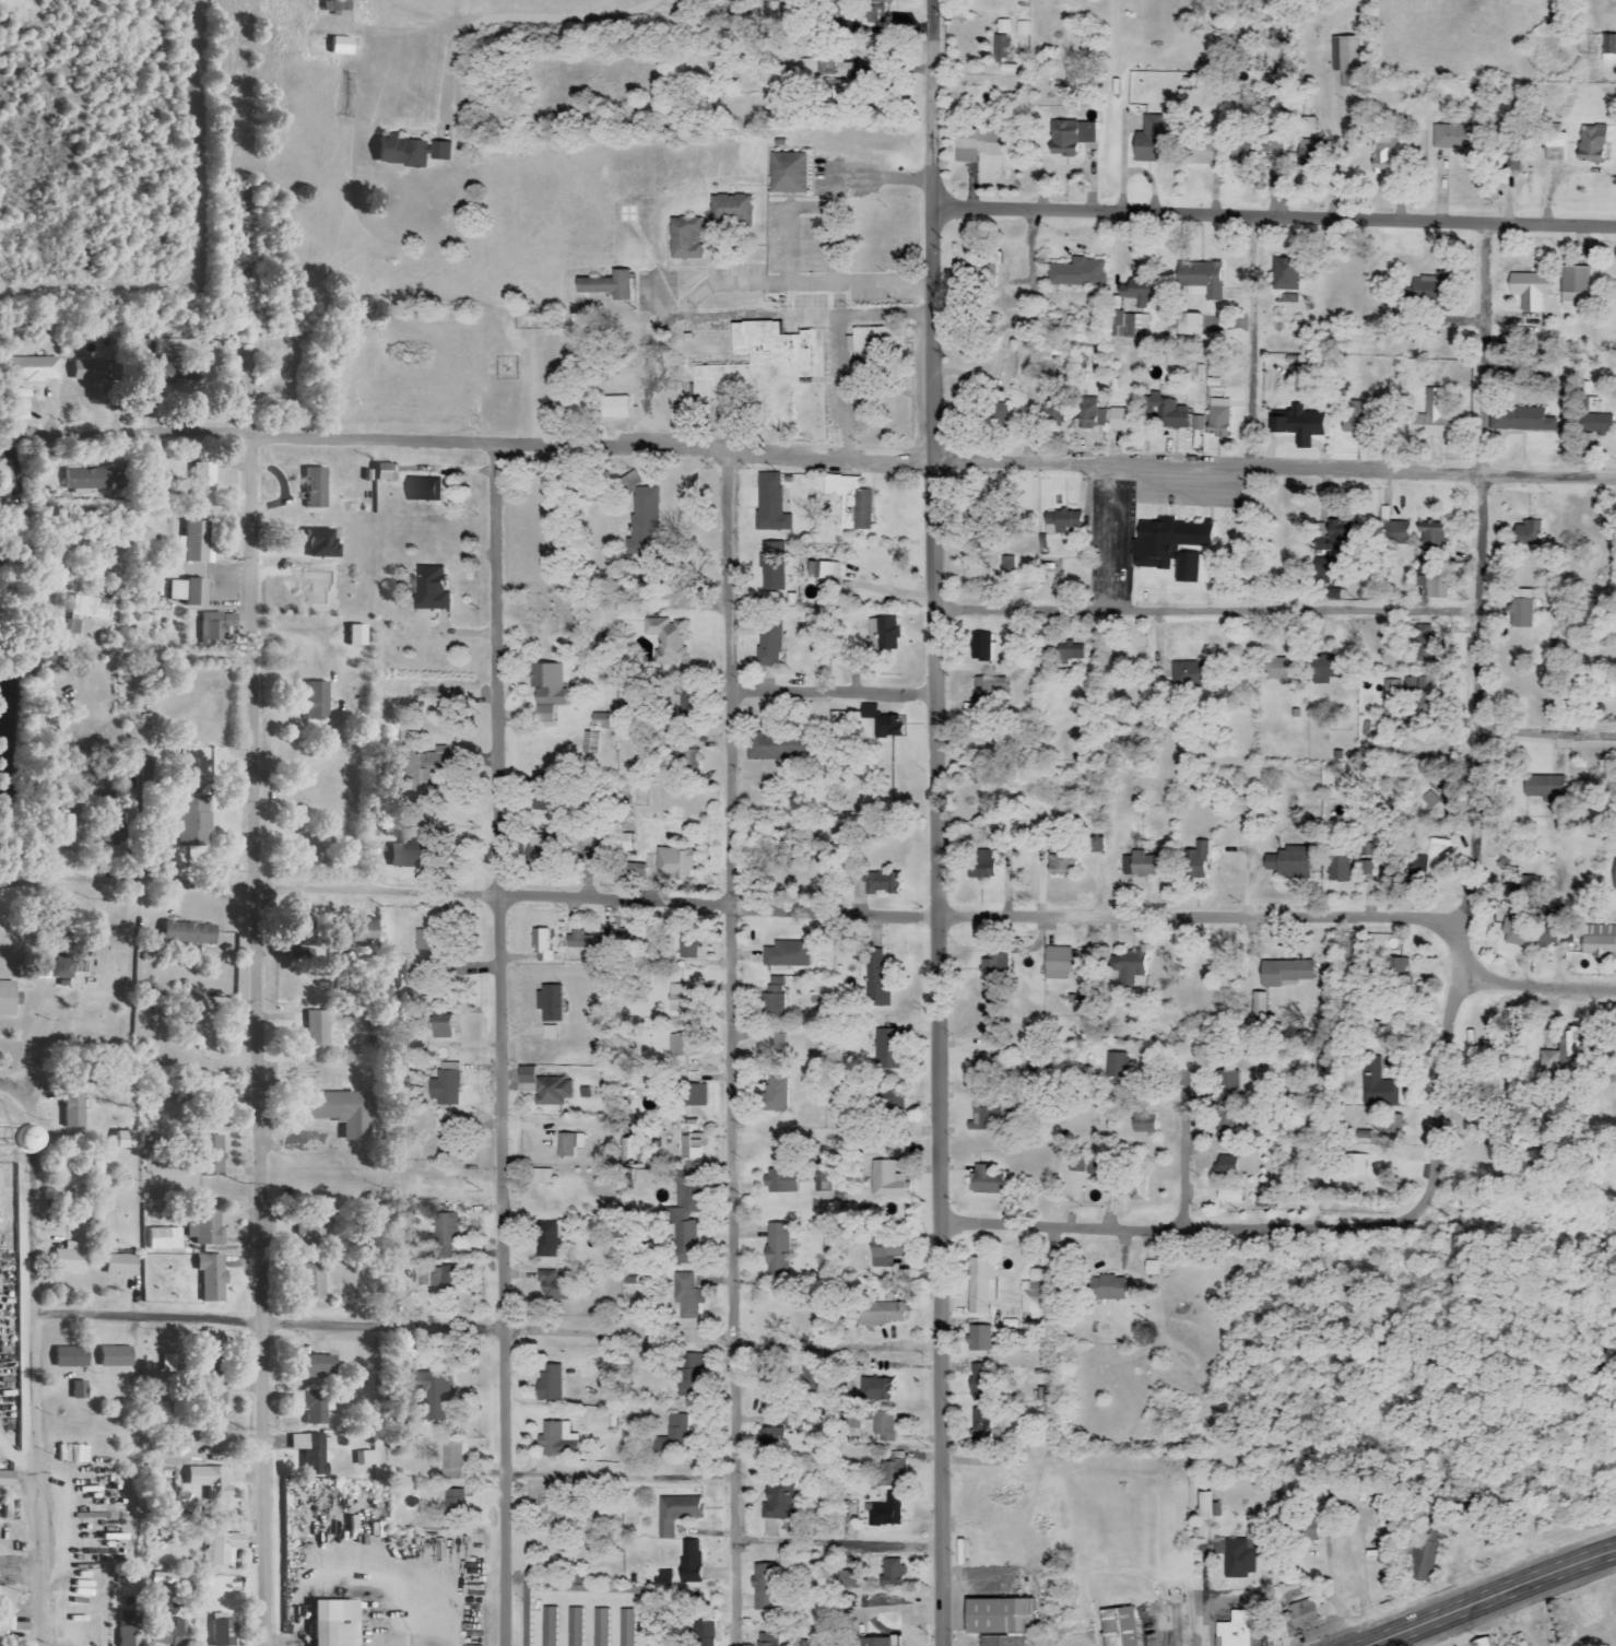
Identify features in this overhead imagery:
building: (770, 0)
building: (872, 10)
road: (516, 17)
building: (1003, 26)
building: (1023, 28)
building: (339, 46)
building: (1001, 49)
building: (1608, 49)
building: (1345, 54)
building: (1349, 79)
building: (845, 90)
road: (927, 104)
building: (1308, 124)
building: (1070, 137)
building: (1458, 137)
building: (1152, 141)
building: (1555, 142)
building: (1592, 143)
building: (983, 144)
building: (410, 151)
building: (1201, 151)
building: (1240, 151)
building: (1310, 153)
building: (1388, 153)
building: (1514, 160)
building: (788, 173)
road: (883, 183)
building: (732, 209)
road: (1271, 219)
helipad: (633, 220)
building: (685, 238)
building: (991, 271)
building: (1078, 273)
building: (1285, 274)
building: (1206, 280)
road: (721, 283)
building: (1573, 283)
building: (608, 286)
building: (1430, 286)
building: (1529, 290)
building: (1187, 324)
road: (1031, 339)
building: (873, 343)
road: (1255, 344)
road: (842, 345)
road: (1483, 351)
building: (222, 358)
building: (161, 365)
building: (764, 367)
building: (34, 369)
building: (82, 371)
building: (613, 407)
building: (1168, 412)
building: (1088, 414)
building: (1000, 415)
building: (1057, 415)
building: (1218, 418)
building: (1431, 418)
building: (1520, 419)
building: (1120, 420)
building: (1355, 420)
building: (1196, 423)
building: (1298, 424)
building: (1599, 424)
road: (807, 459)
building: (382, 472)
building: (85, 479)
building: (203, 482)
building: (315, 489)
building: (422, 490)
building: (850, 502)
building: (770, 504)
building: (642, 519)
building: (1061, 521)
building: (1396, 532)
building: (1527, 533)
building: (1431, 537)
road: (1109, 539)
building: (1336, 539)
building: (192, 543)
building: (1171, 546)
building: (771, 566)
building: (1008, 567)
building: (824, 571)
building: (1322, 571)
building: (1436, 584)
building: (430, 588)
building: (187, 592)
building: (769, 600)
building: (1522, 608)
building: (91, 609)
road: (1202, 613)
building: (216, 626)
building: (885, 634)
building: (355, 636)
building: (668, 639)
building: (1423, 643)
building: (768, 645)
building: (981, 647)
road: (172, 652)
building: (1071, 654)
building: (1329, 668)
building: (1282, 669)
building: (1191, 674)
building: (990, 686)
building: (546, 691)
building: (1395, 694)
road: (829, 695)
building: (314, 702)
building: (692, 704)
building: (599, 720)
building: (146, 724)
building: (885, 724)
road: (1544, 737)
building: (781, 746)
building: (687, 753)
building: (432, 763)
building: (1544, 788)
building: (540, 806)
building: (191, 820)
building: (61, 831)
building: (544, 845)
building: (1095, 845)
building: (611, 846)
road: (1465, 850)
building: (403, 855)
building: (676, 861)
building: (1196, 861)
building: (1290, 862)
building: (1139, 865)
building: (636, 866)
building: (1062, 866)
building: (1341, 866)
building: (1368, 868)
building: (1420, 868)
building: (979, 870)
building: (1614, 877)
building: (882, 883)
building: (1527, 887)
road: (22, 889)
road: (753, 902)
road: (931, 927)
building: (1552, 928)
building: (363, 930)
building: (1515, 932)
building: (188, 934)
building: (429, 938)
building: (591, 941)
building: (1600, 941)
building: (342, 945)
building: (541, 945)
building: (687, 945)
building: (789, 954)
building: (1061, 963)
building: (1125, 966)
building: (994, 967)
building: (54, 969)
building: (1405, 971)
building: (1284, 972)
building: (875, 977)
road: (1536, 979)
building: (777, 996)
building: (680, 998)
building: (9, 999)
building: (550, 1003)
building: (1259, 1004)
building: (443, 1026)
building: (316, 1028)
building: (549, 1032)
road: (259, 1045)
building: (683, 1045)
building: (776, 1045)
road: (498, 1048)
building: (889, 1049)
building: (1562, 1050)
road: (731, 1051)
building: (1116, 1066)
road: (1255, 1081)
building: (1228, 1082)
building: (448, 1085)
building: (1377, 1085)
building: (552, 1091)
building: (695, 1095)
building: (774, 1095)
building: (72, 1110)
building: (337, 1113)
building: (986, 1118)
building: (1143, 1122)
helipad: (11, 1134)
building: (121, 1140)
building: (691, 1141)
building: (568, 1144)
road: (1182, 1150)
building: (210, 1156)
building: (1240, 1163)
building: (1083, 1165)
building: (540, 1176)
building: (822, 1177)
building: (887, 1180)
building: (986, 1180)
building: (780, 1181)
building: (1136, 1188)
building: (1229, 1196)
building: (684, 1218)
building: (445, 1227)
building: (312, 1228)
road: (1175, 1228)
building: (204, 1230)
building: (163, 1239)
building: (546, 1239)
building: (777, 1248)
building: (884, 1257)
building: (69, 1259)
building: (119, 1266)
building: (211, 1278)
building: (436, 1280)
building: (310, 1281)
building: (980, 1285)
building: (554, 1288)
building: (1108, 1288)
building: (399, 1293)
building: (1033, 1295)
building: (688, 1297)
building: (882, 1314)
road: (484, 1330)
building: (979, 1339)
road: (35, 1351)
building: (69, 1357)
building: (114, 1357)
building: (316, 1366)
building: (688, 1375)
building: (767, 1376)
building: (549, 1383)
building: (979, 1384)
building: (878, 1389)
building: (79, 1390)
building: (212, 1403)
building: (316, 1410)
building: (980, 1424)
building: (885, 1426)
building: (679, 1438)
building: (772, 1438)
building: (558, 1439)
building: (312, 1453)
building: (364, 1459)
building: (452, 1461)
building: (894, 1469)
road: (617, 1475)
building: (2, 1480)
building: (217, 1495)
building: (779, 1502)
building: (453, 1506)
building: (1207, 1507)
building: (885, 1512)
building: (676, 1514)
building: (551, 1516)
road: (834, 1543)
building: (225, 1550)
building: (1423, 1555)
building: (1239, 1559)
building: (691, 1562)
road: (21, 1564)
building: (892, 1573)
building: (665, 1576)
building: (849, 1580)
building: (608, 1588)
building: (765, 1588)
road: (1489, 1599)
building: (1302, 1613)
building: (998, 1621)
building: (331, 1623)
building: (549, 1626)
building: (575, 1626)
building: (600, 1626)
building: (626, 1627)
building: (1118, 1627)
building: (128, 1629)
building: (1234, 1630)
building: (527, 1632)
building: (650, 1632)
building: (222, 1633)
building: (706, 1634)
building: (173, 1635)
building: (0, 1636)
building: (766, 1641)
building: (876, 1642)
building: (1481, 1642)

